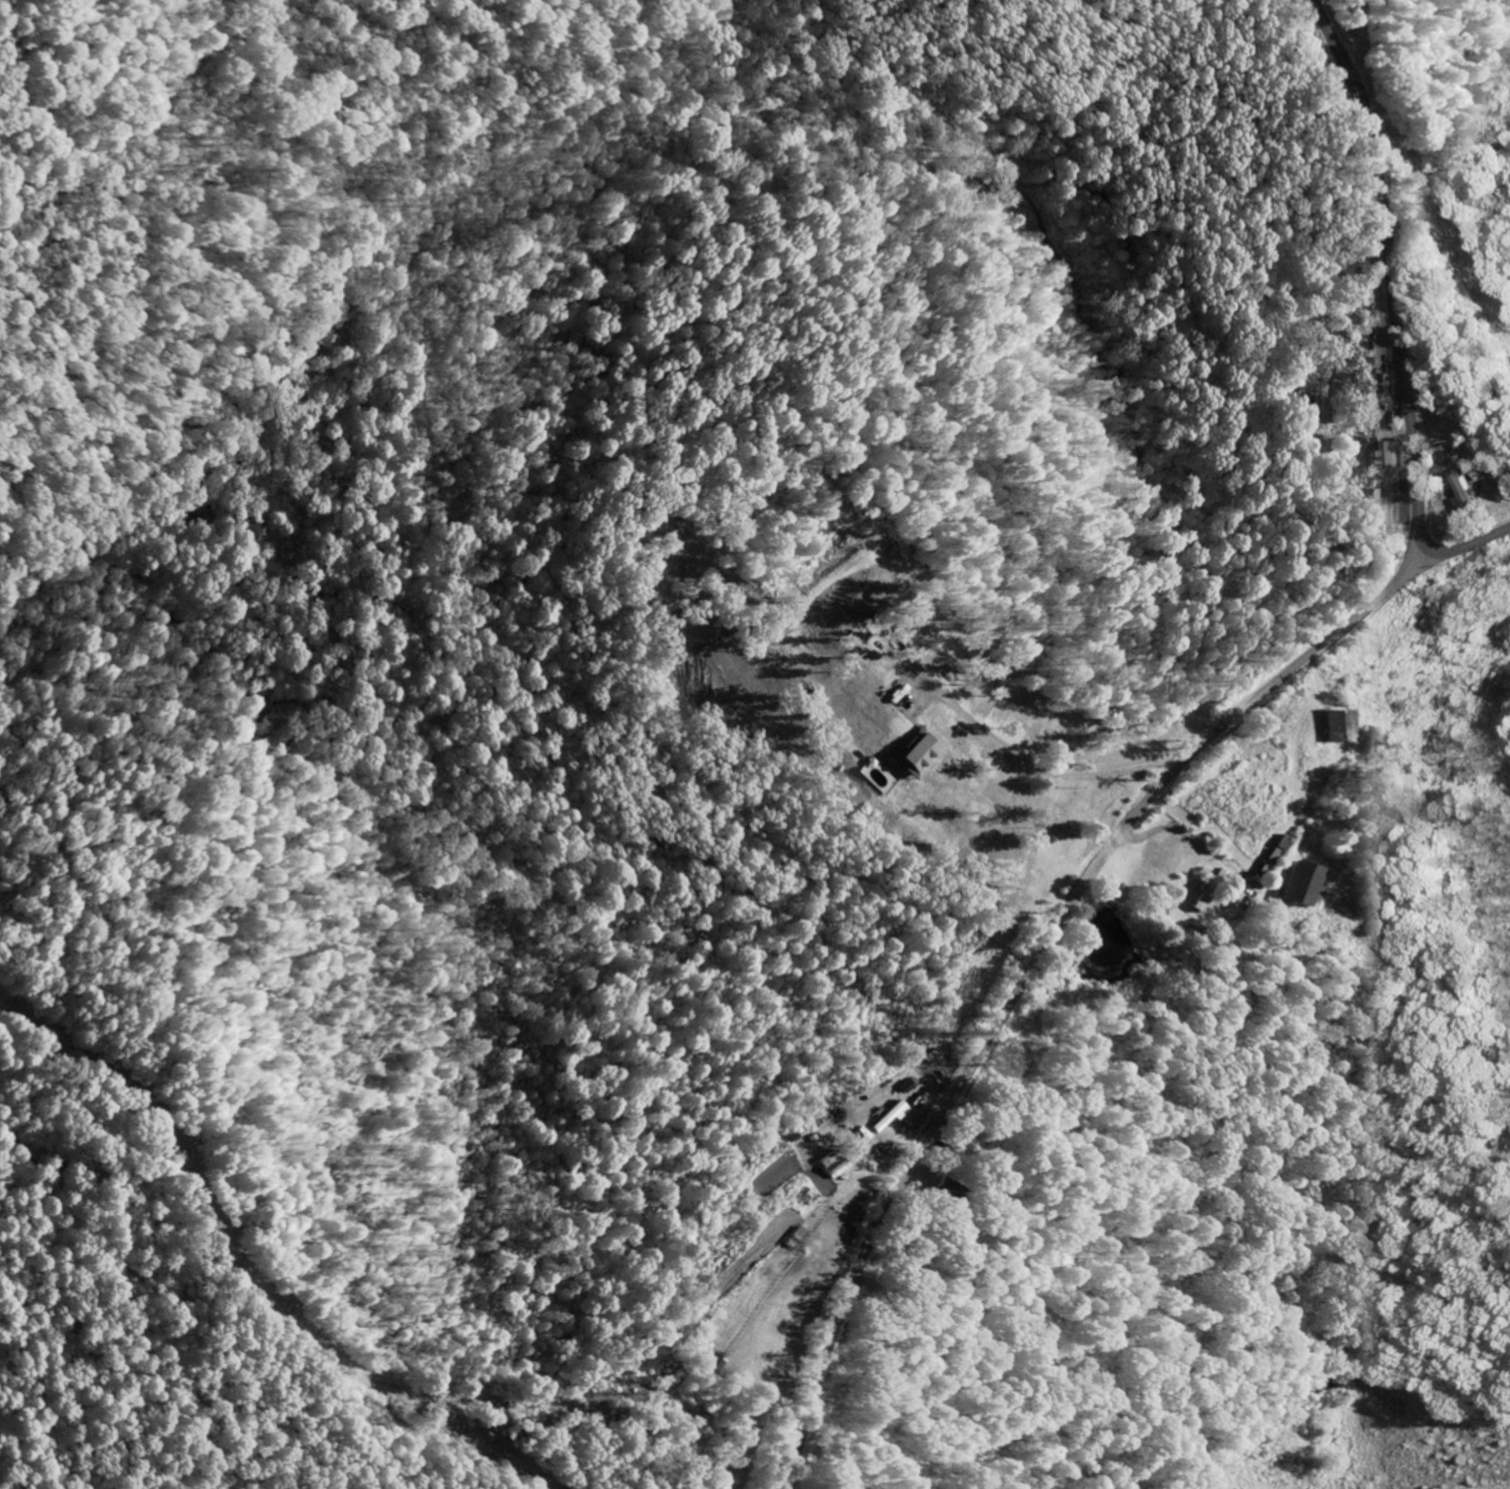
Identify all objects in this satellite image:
road: (1388, 271)
building: (1375, 389)
building: (1385, 457)
building: (1459, 494)
road: (1465, 546)
building: (1331, 729)
building: (915, 756)
building: (1294, 887)
building: (1206, 894)
road: (1029, 970)
road: (156, 1097)
building: (889, 1117)
building: (830, 1166)
building: (710, 1366)
road: (381, 1385)

